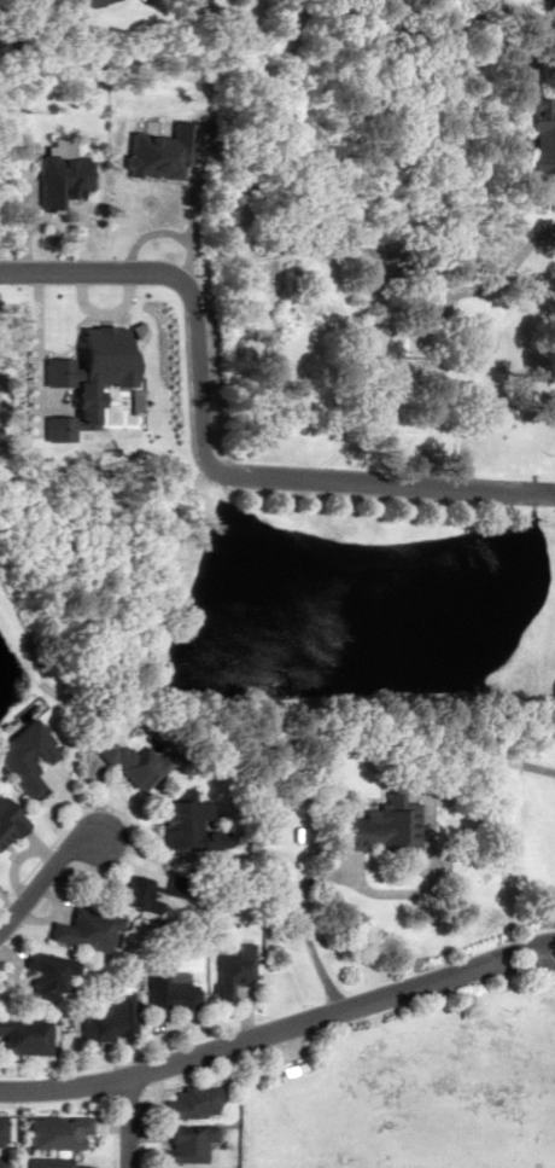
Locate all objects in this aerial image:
building: (87, 1)
building: (532, 129)
road: (520, 250)
building: (245, 284)
building: (382, 353)
road: (200, 451)
building: (22, 757)
building: (129, 762)
road: (436, 769)
building: (6, 821)
building: (176, 823)
building: (366, 825)
road: (45, 878)
building: (134, 893)
building: (84, 929)
building: (229, 967)
building: (45, 972)
building: (170, 994)
building: (109, 1017)
road: (279, 1028)
building: (24, 1034)
building: (189, 1100)
road: (127, 1121)
building: (1, 1129)
building: (55, 1131)
building: (183, 1143)
building: (1, 1162)
building: (54, 1163)

